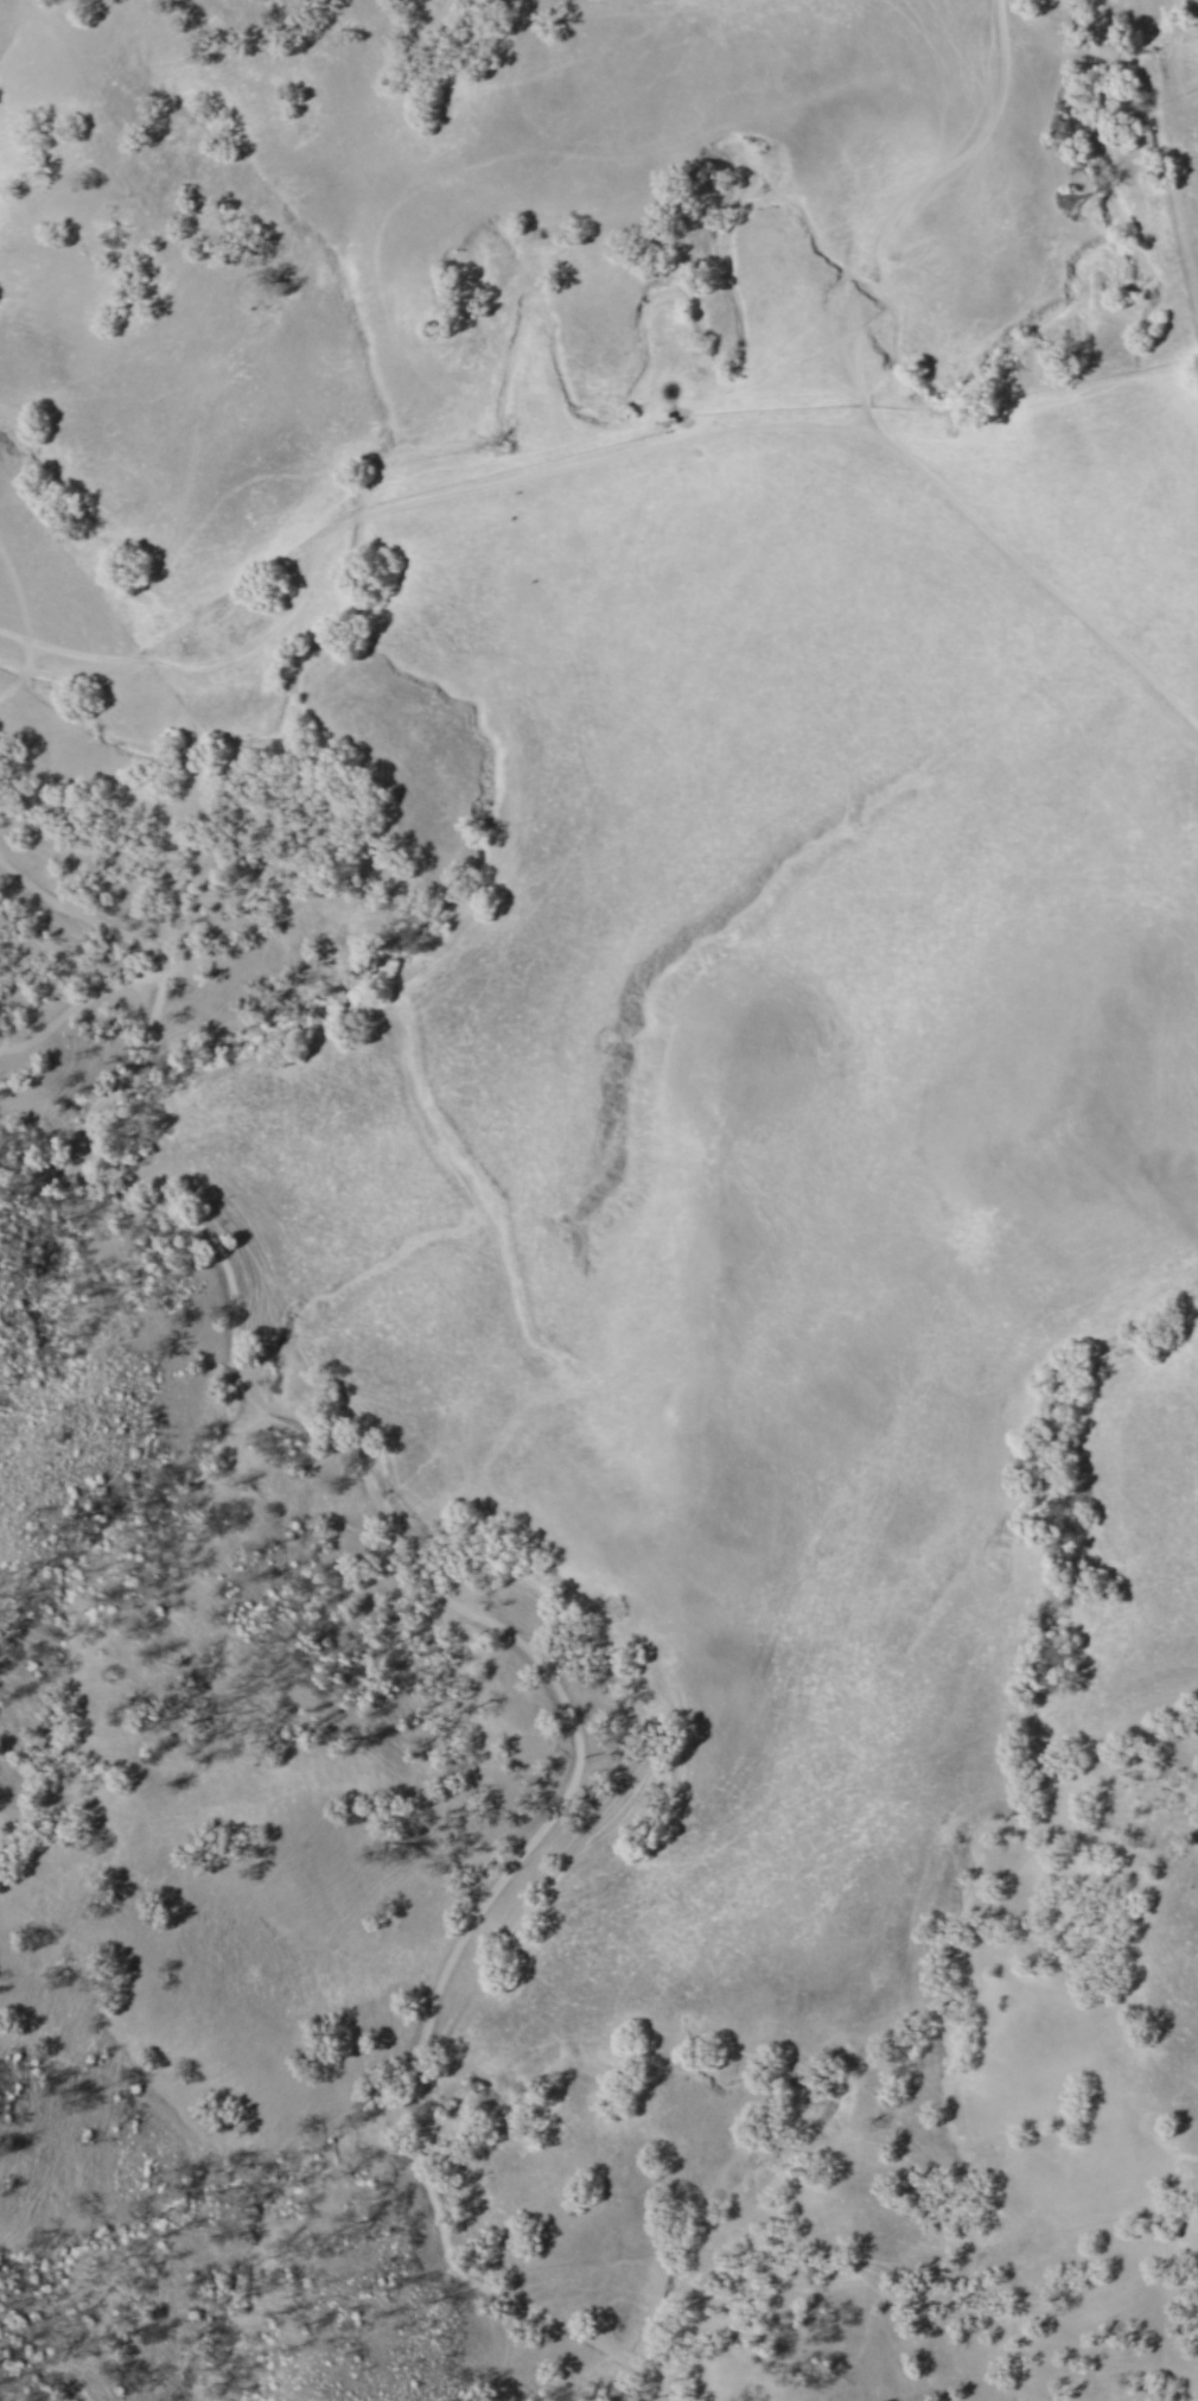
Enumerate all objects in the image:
road: (910, 205)
road: (632, 452)
road: (1039, 576)

